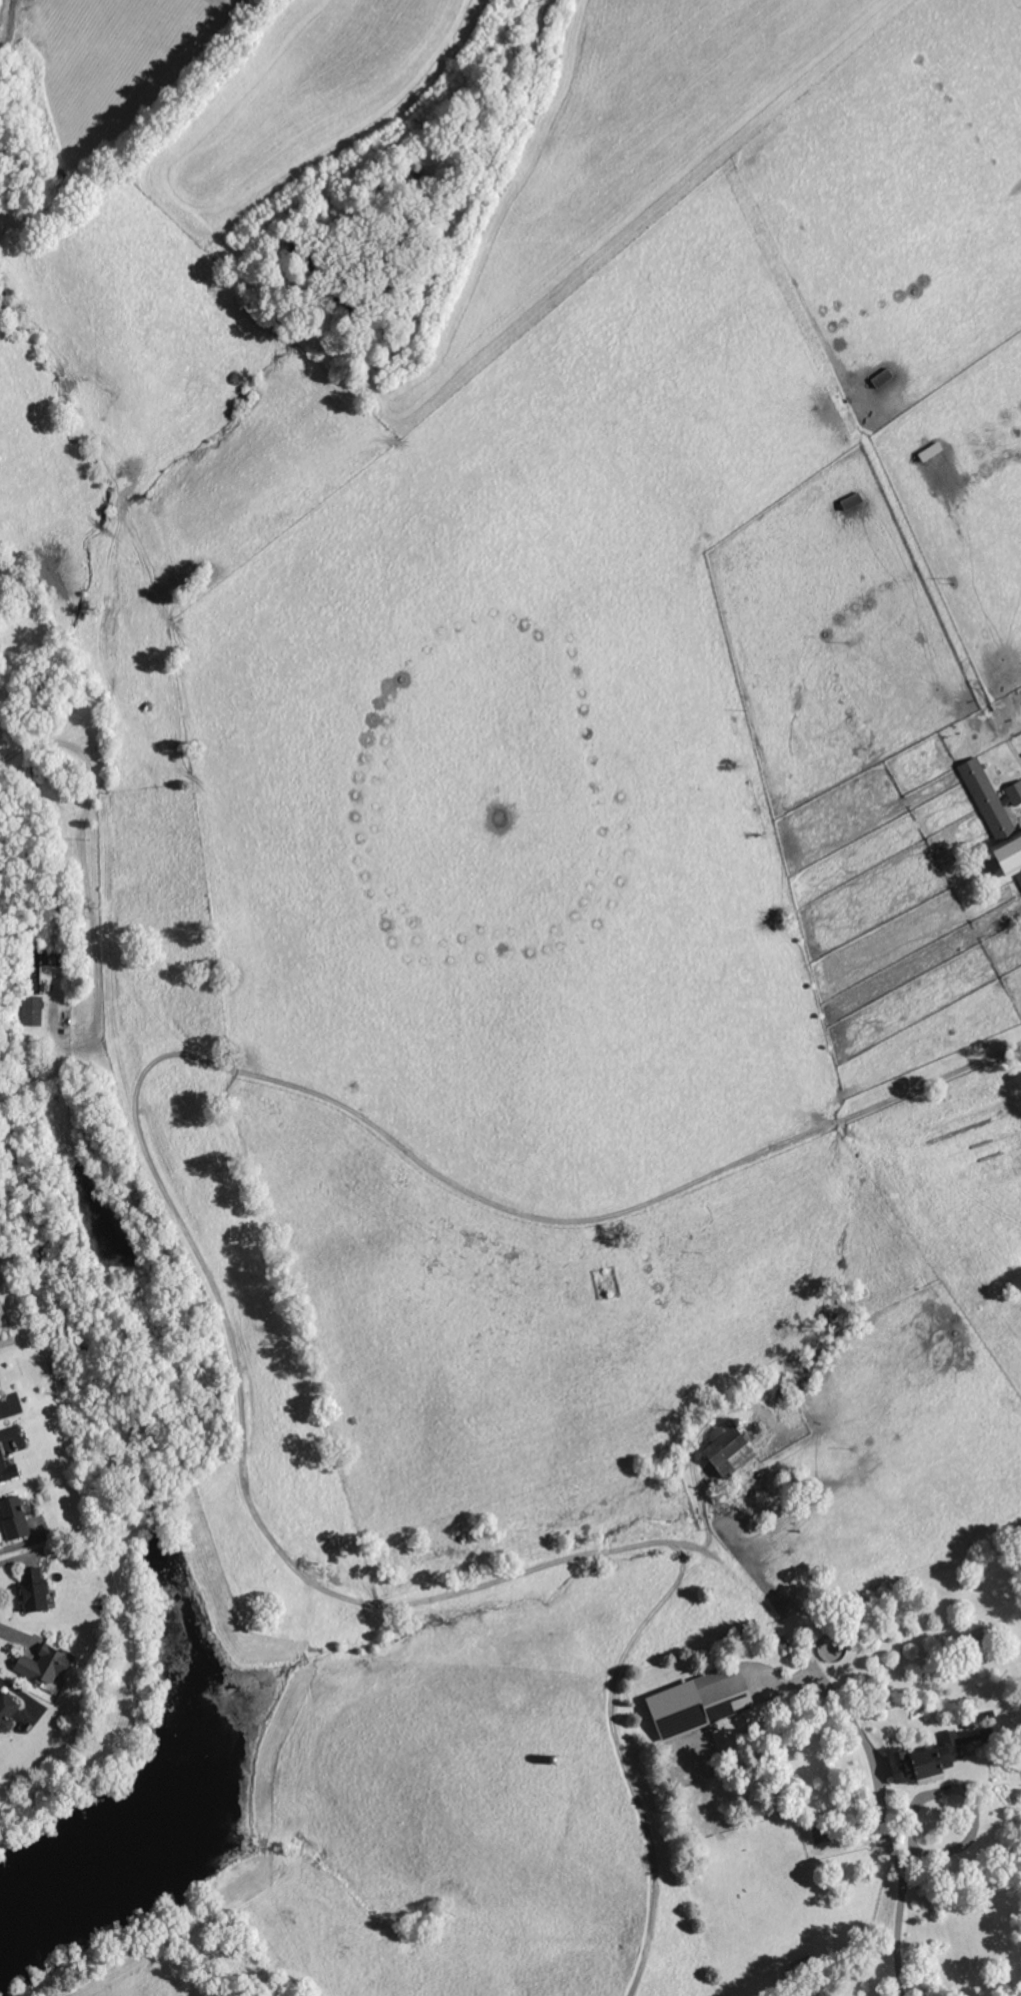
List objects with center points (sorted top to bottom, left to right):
building: (1012, 791)
building: (991, 823)
building: (29, 1010)
road: (210, 1279)
park: (605, 1281)
building: (721, 1451)
building: (8, 1465)
building: (13, 1506)
building: (48, 1663)
building: (690, 1702)
building: (7, 1709)
building: (925, 1756)
road: (873, 1762)
road: (900, 1893)

